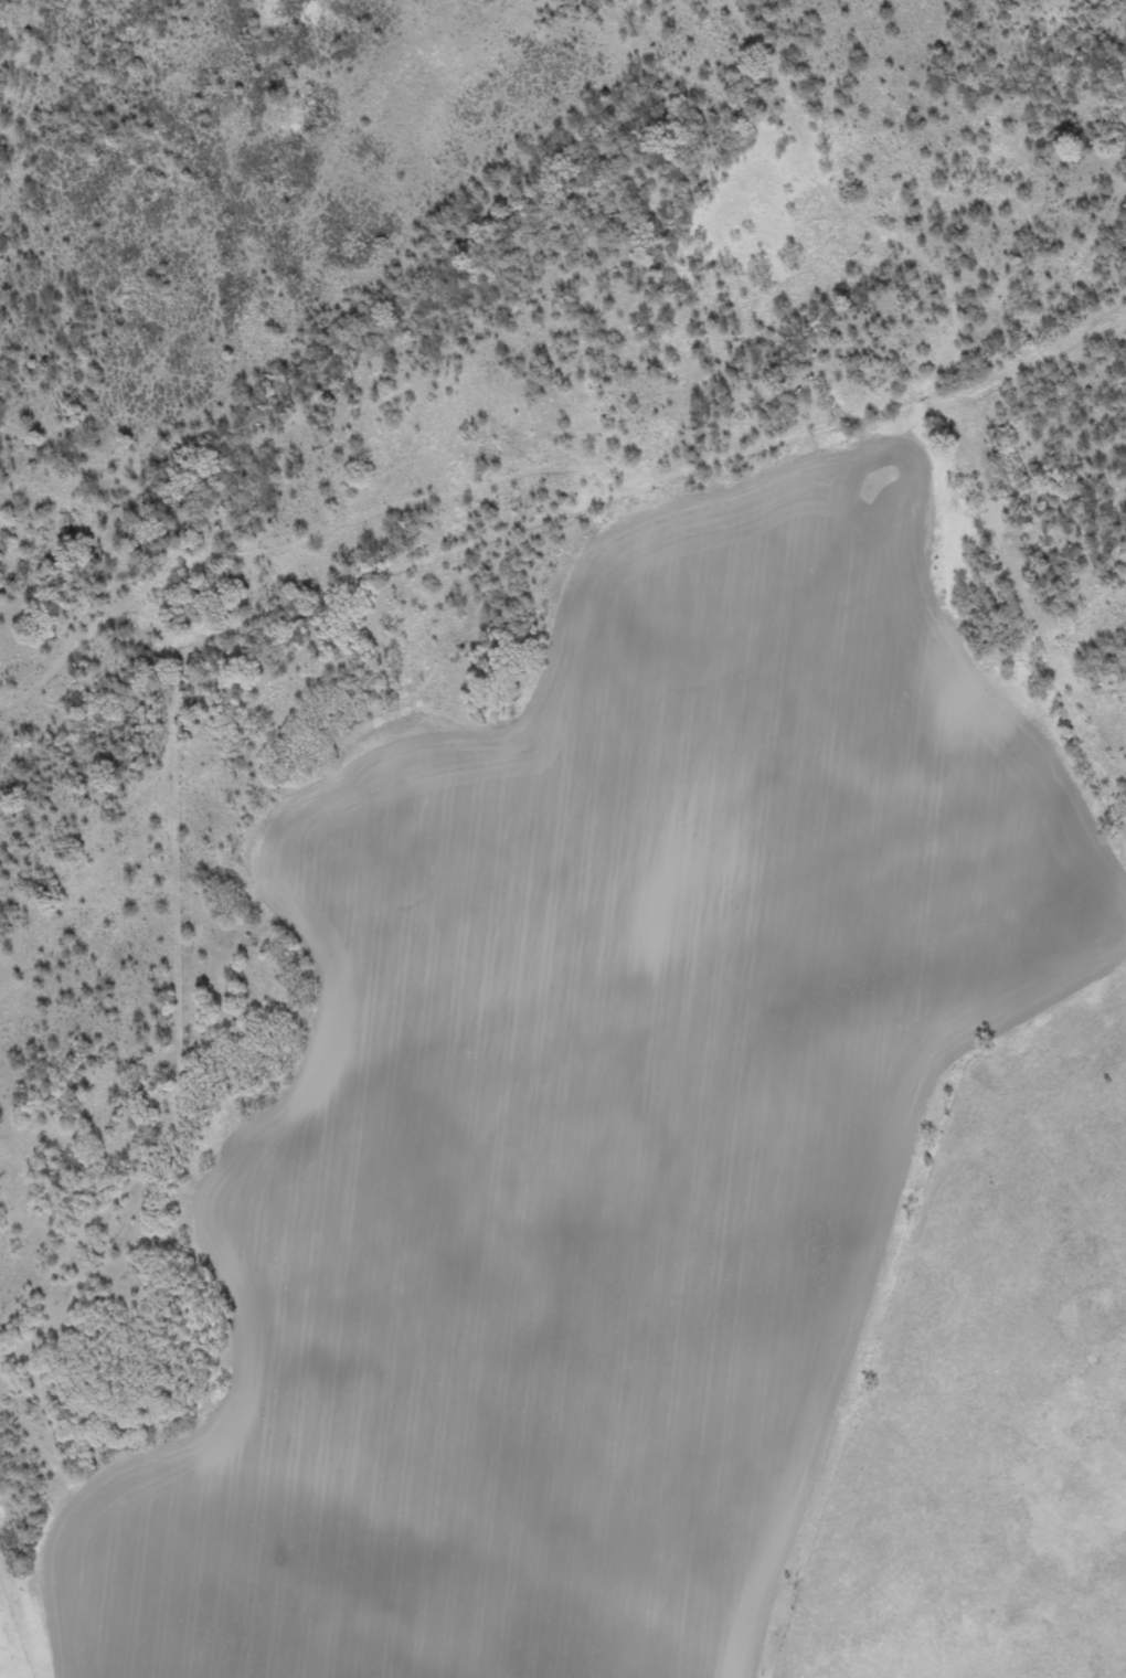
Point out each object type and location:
road: (1082, 571)

